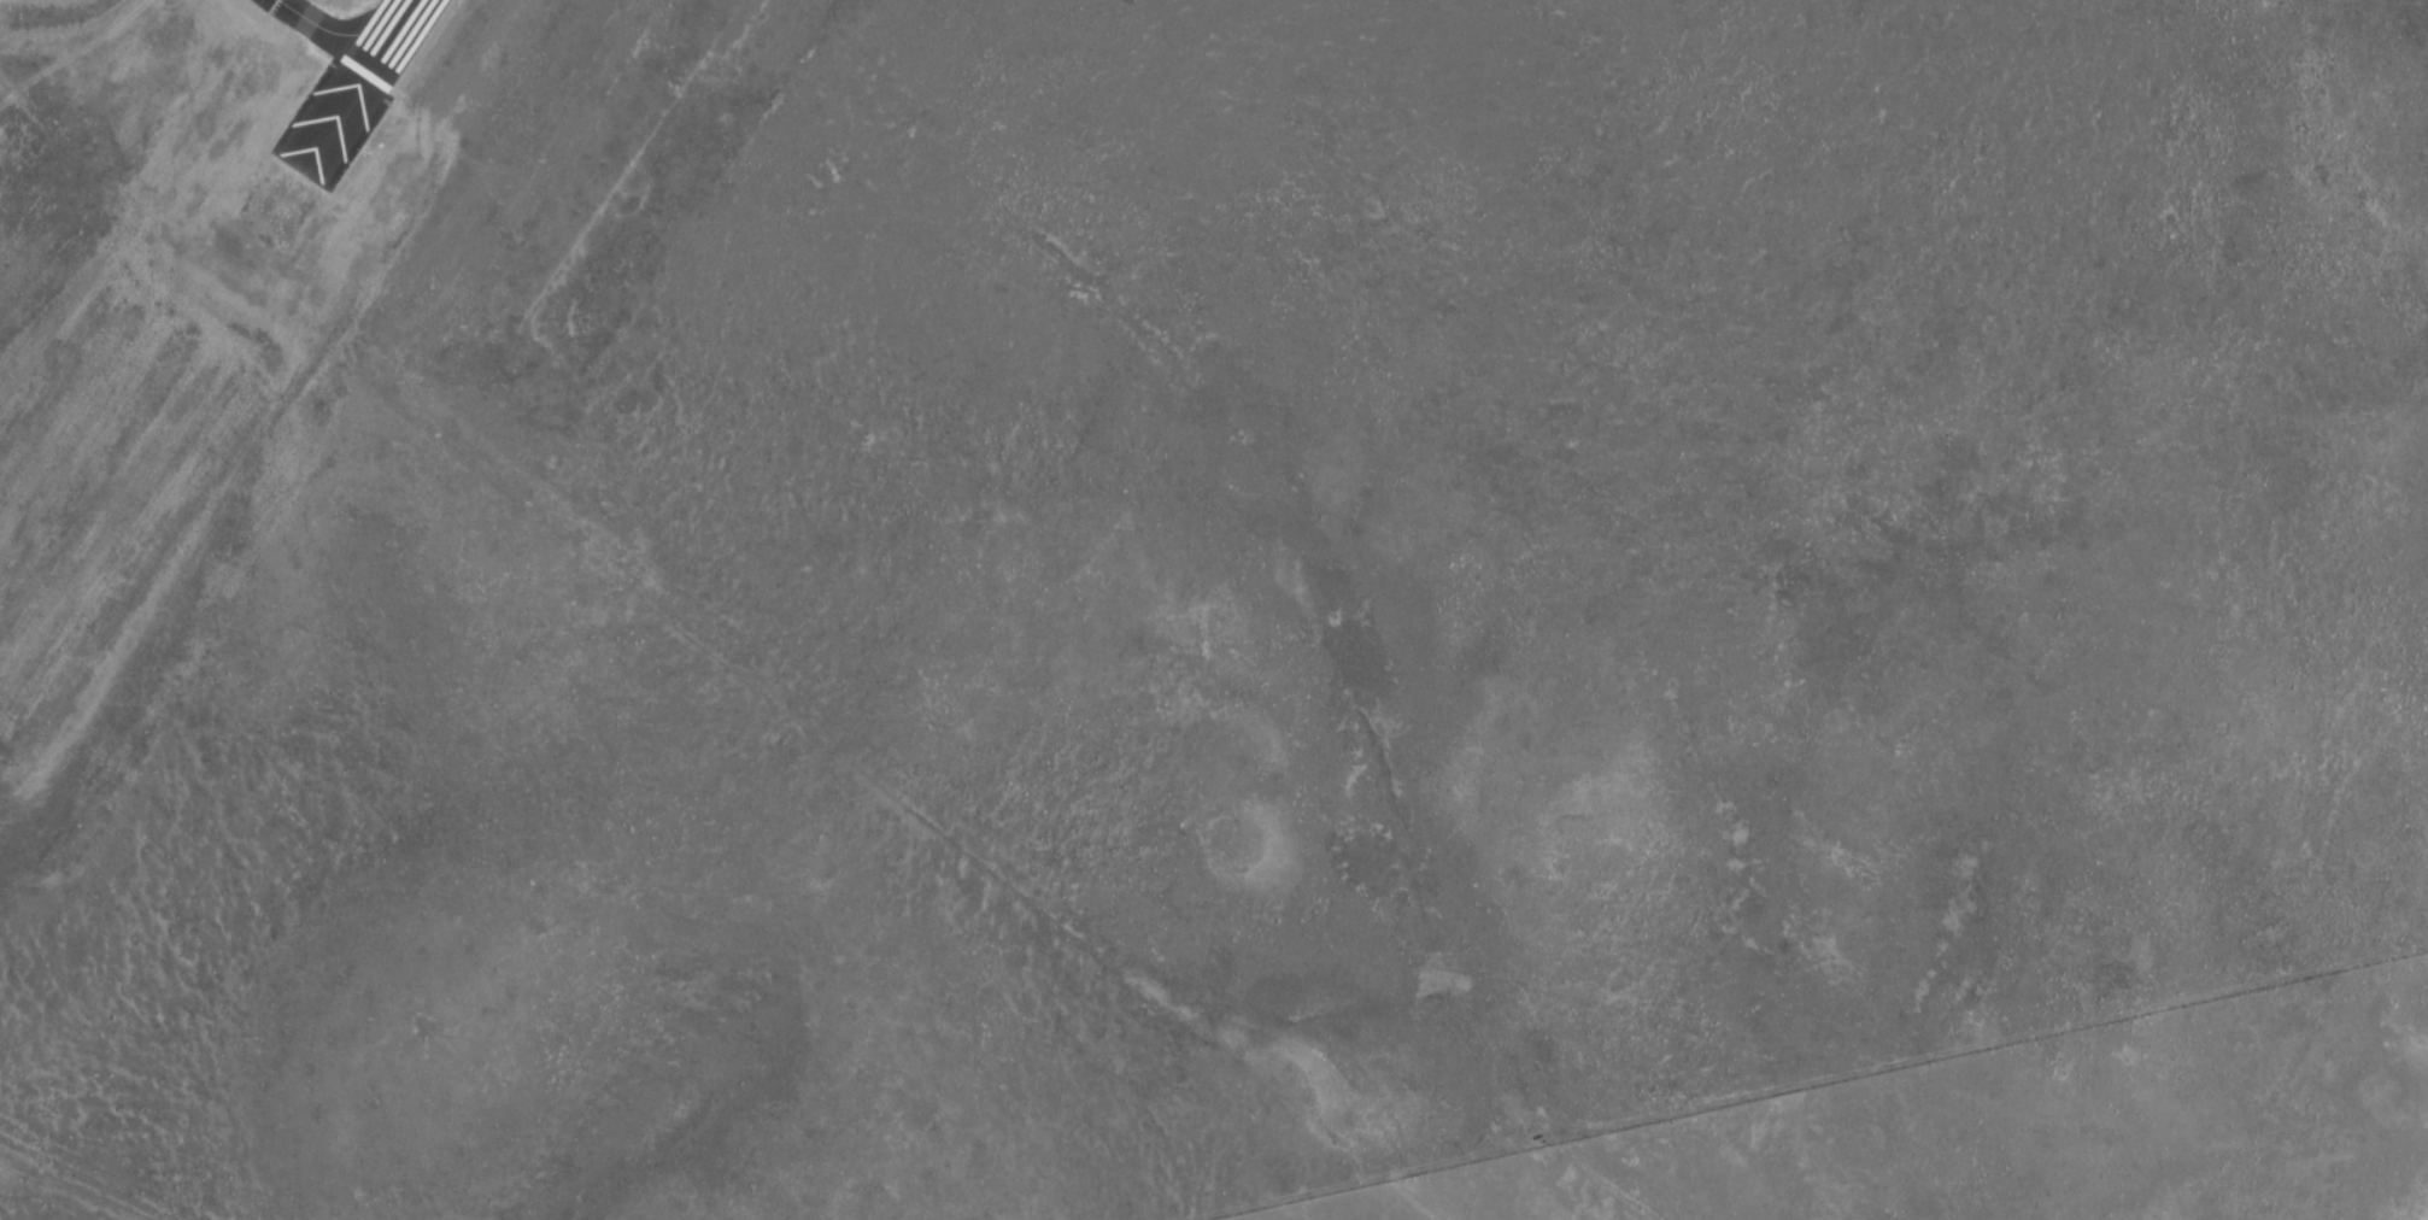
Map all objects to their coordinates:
airport taxiway: (318, 31)
airport runway: (386, 37)
airport: (1167, 580)
road: (1802, 1083)
road: (68, 1185)

